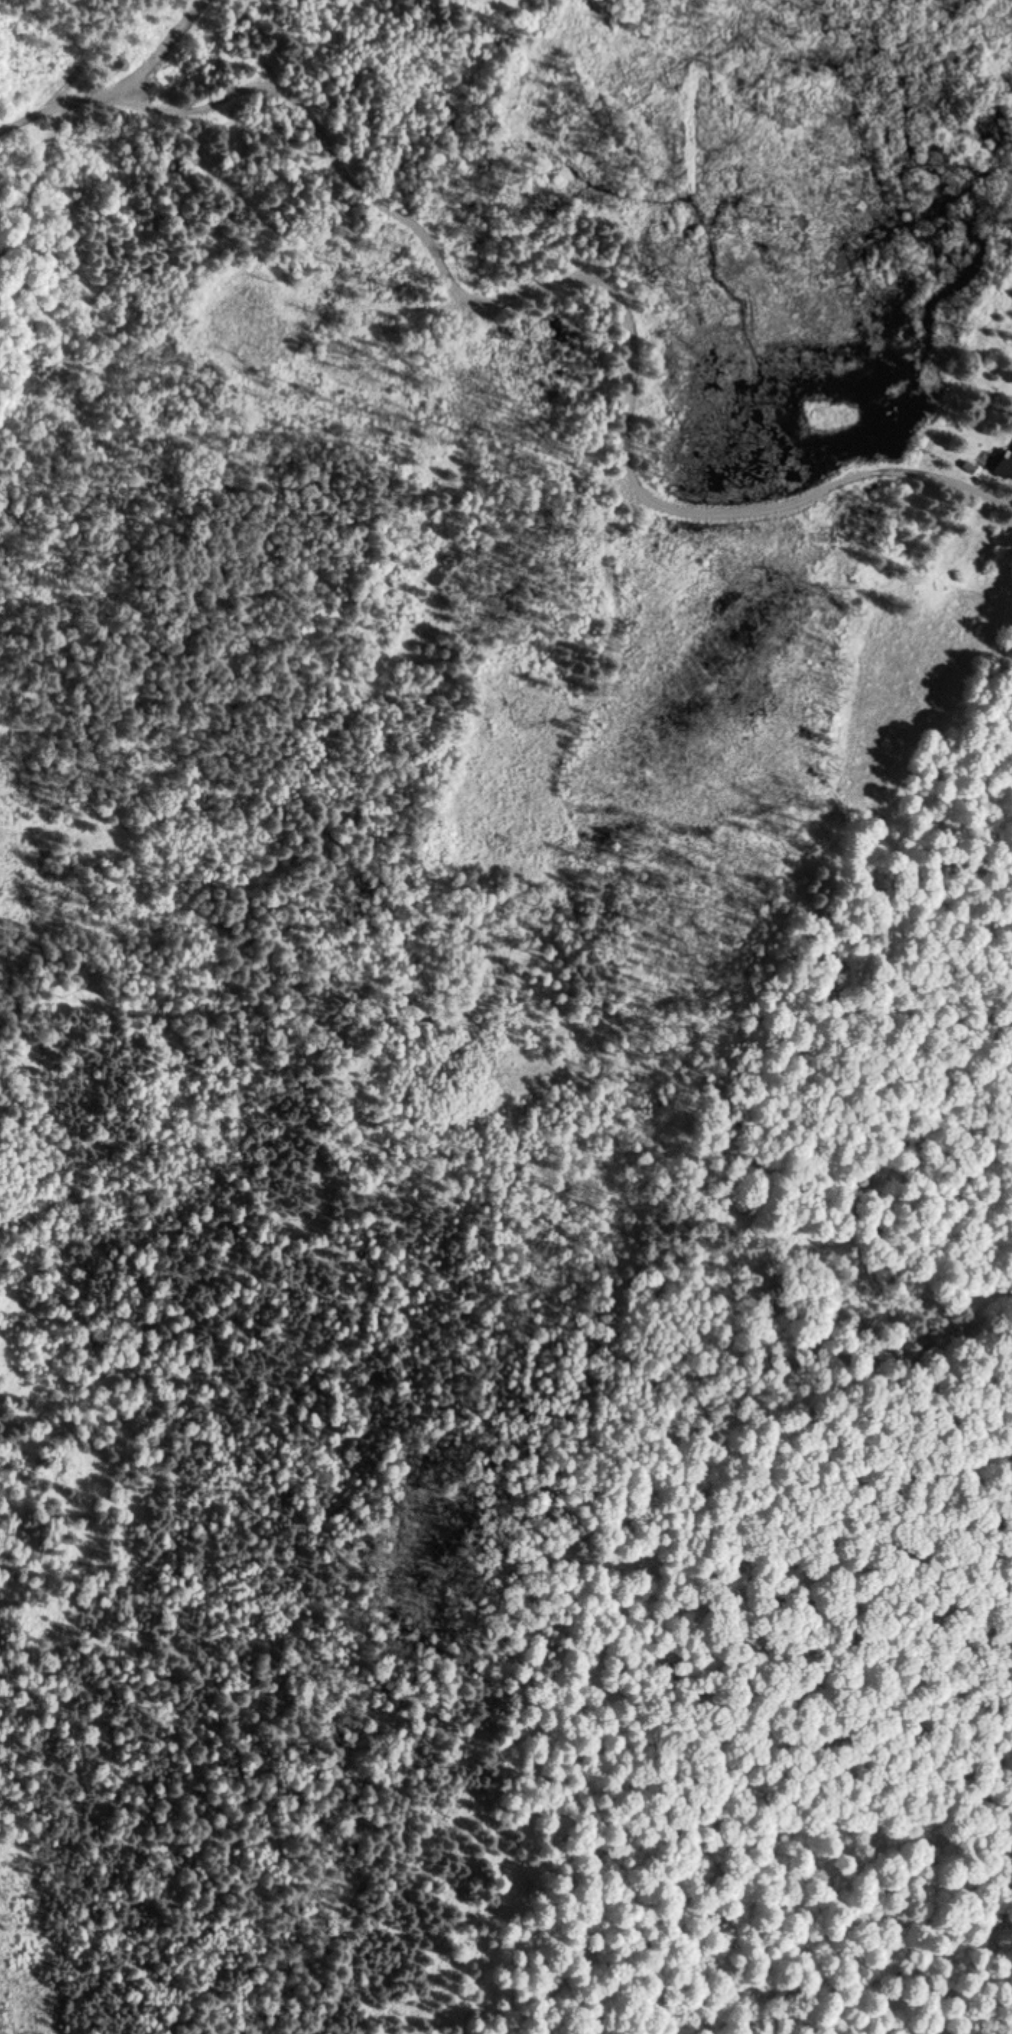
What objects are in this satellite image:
building: (1005, 468)

